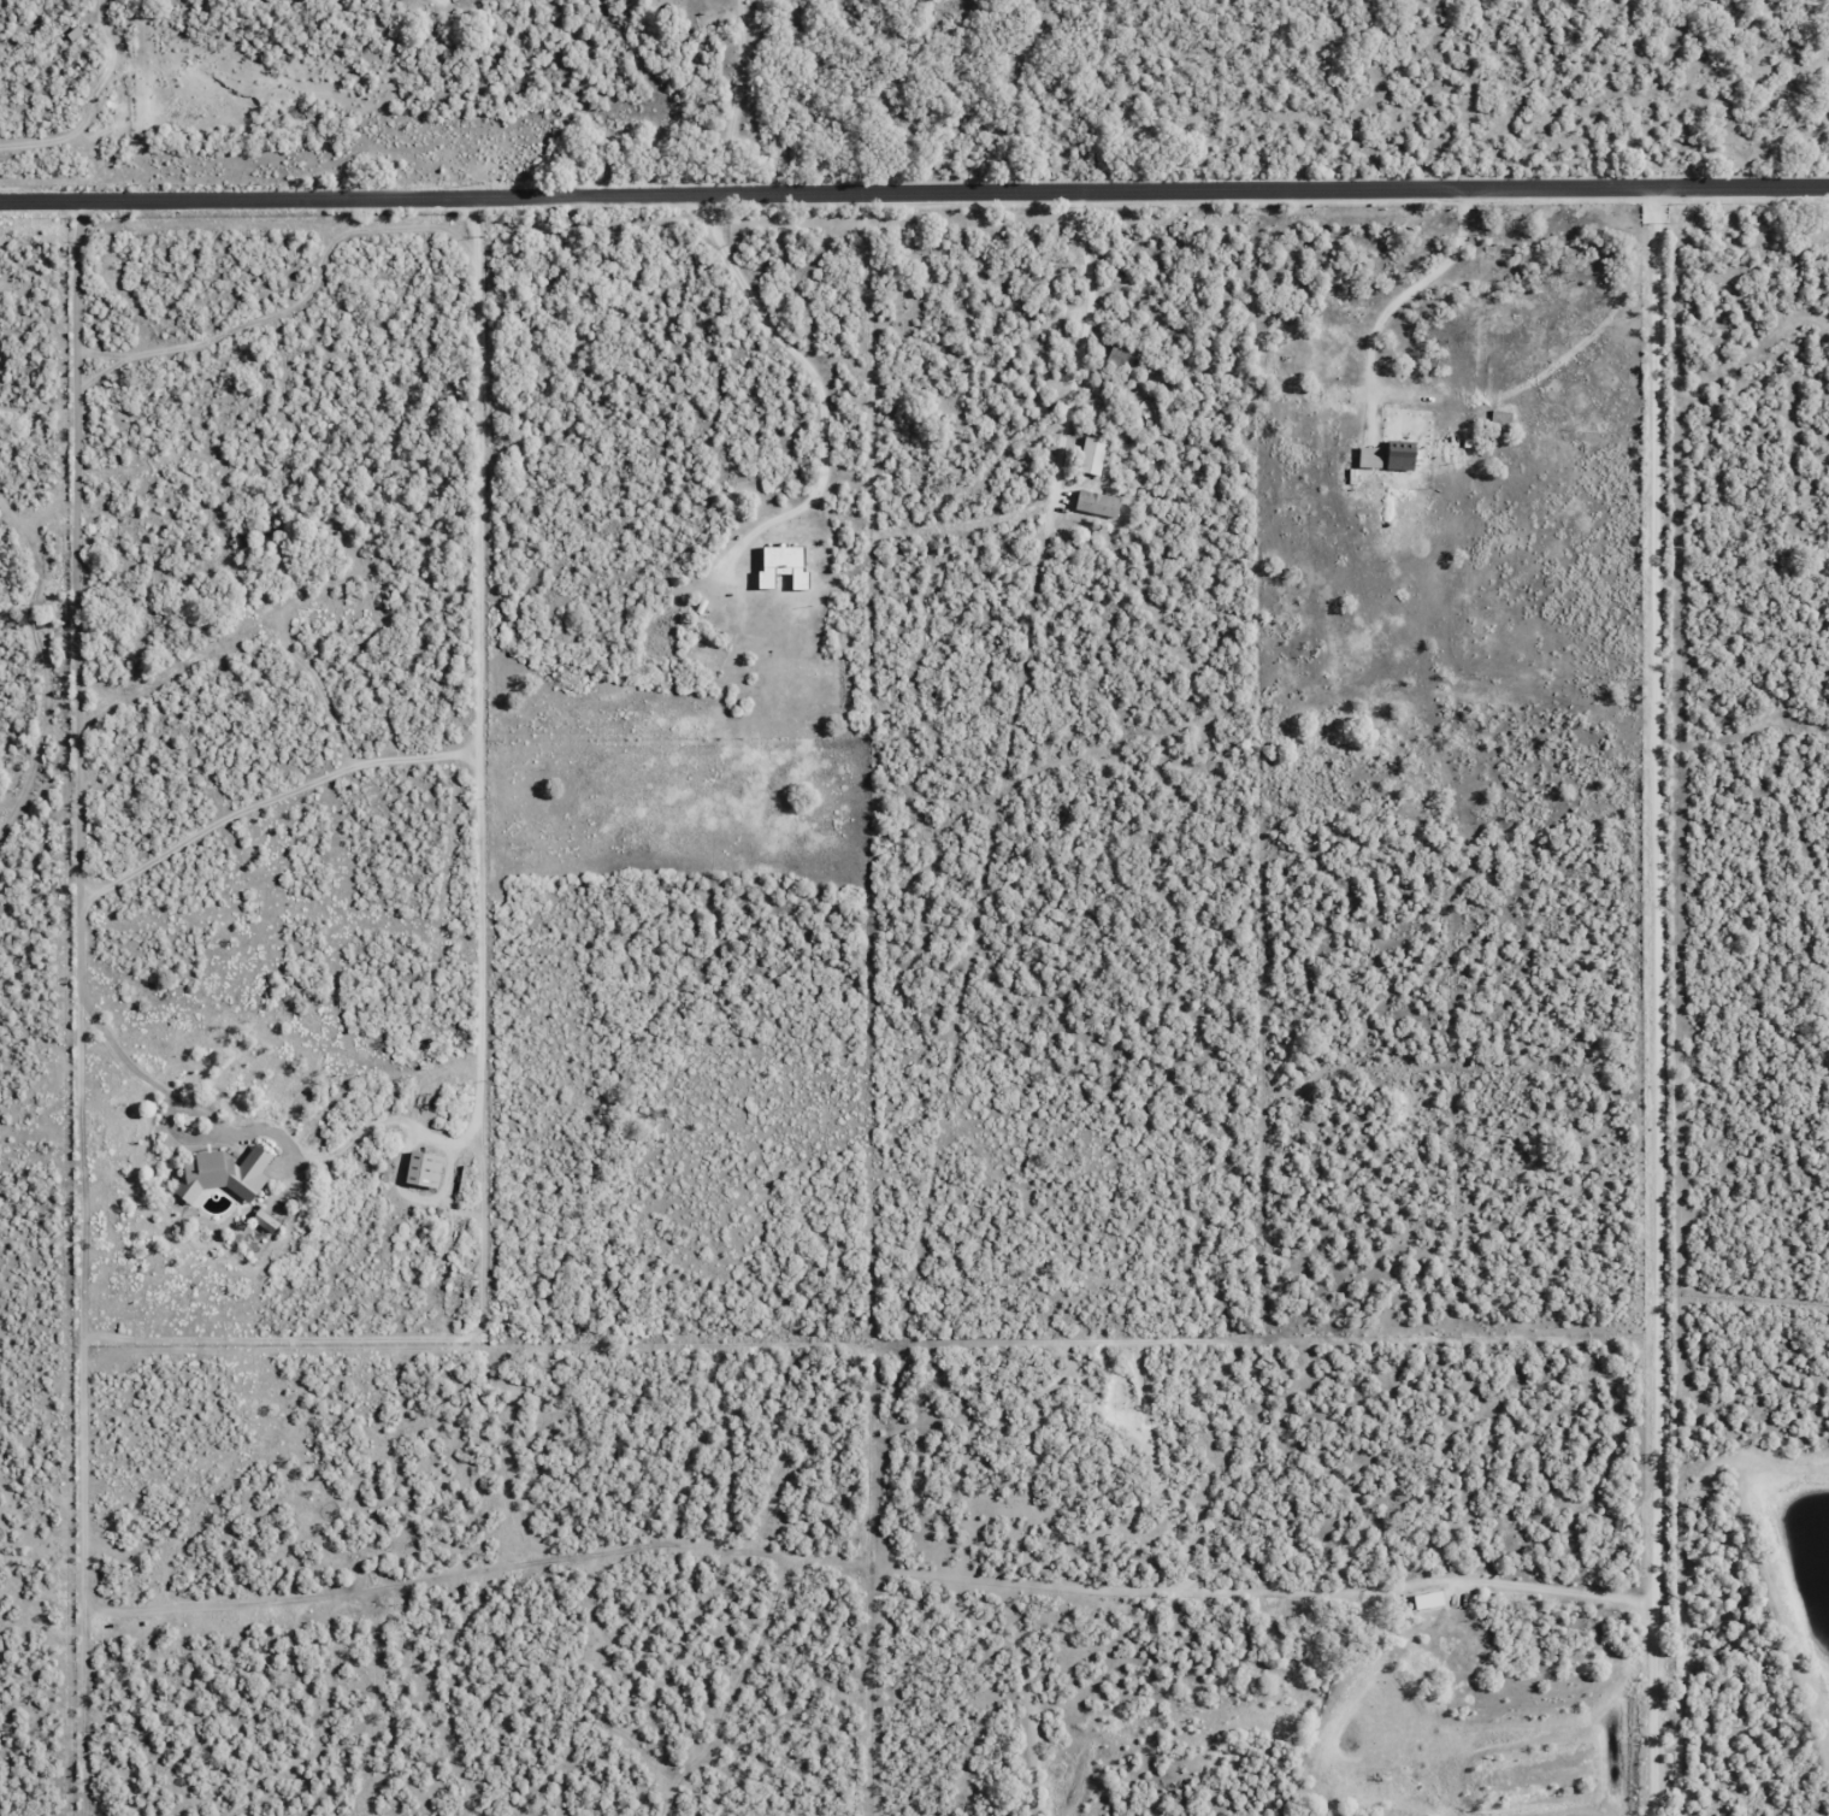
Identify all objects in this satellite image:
building: (73, 33)
road: (736, 98)
road: (914, 191)
road: (1406, 290)
road: (1088, 344)
building: (1116, 355)
road: (828, 384)
building: (1500, 419)
building: (1091, 454)
building: (1403, 455)
building: (1097, 502)
building: (785, 565)
road: (1660, 1001)
road: (320, 1163)
building: (425, 1168)
building: (224, 1173)
building: (1429, 1599)

